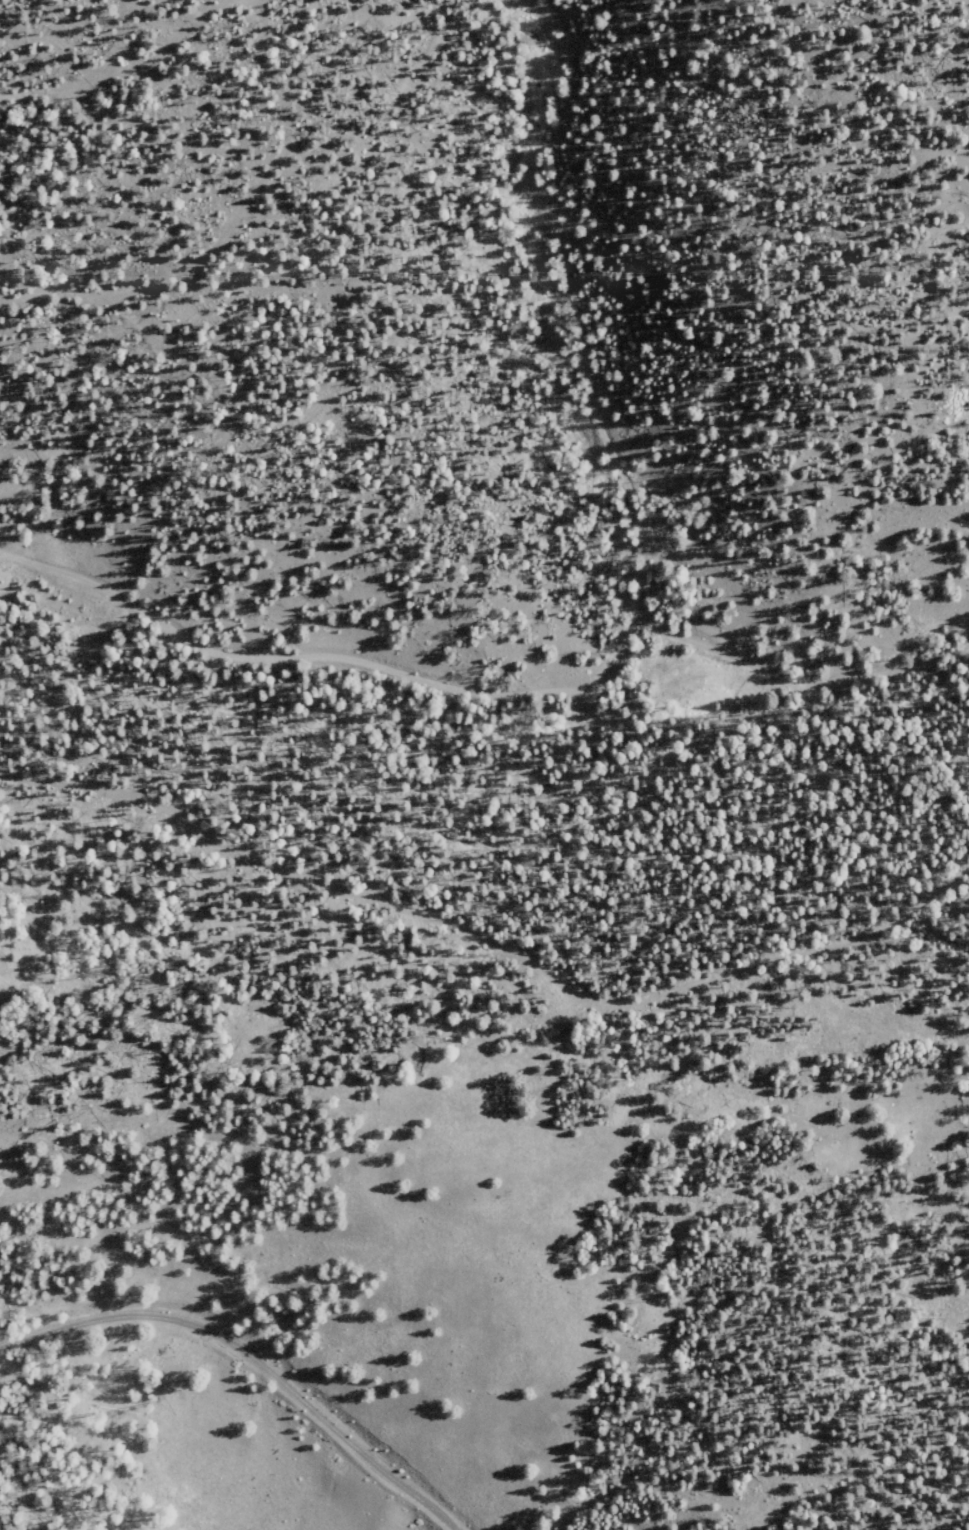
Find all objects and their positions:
road: (487, 705)
road: (251, 1406)

